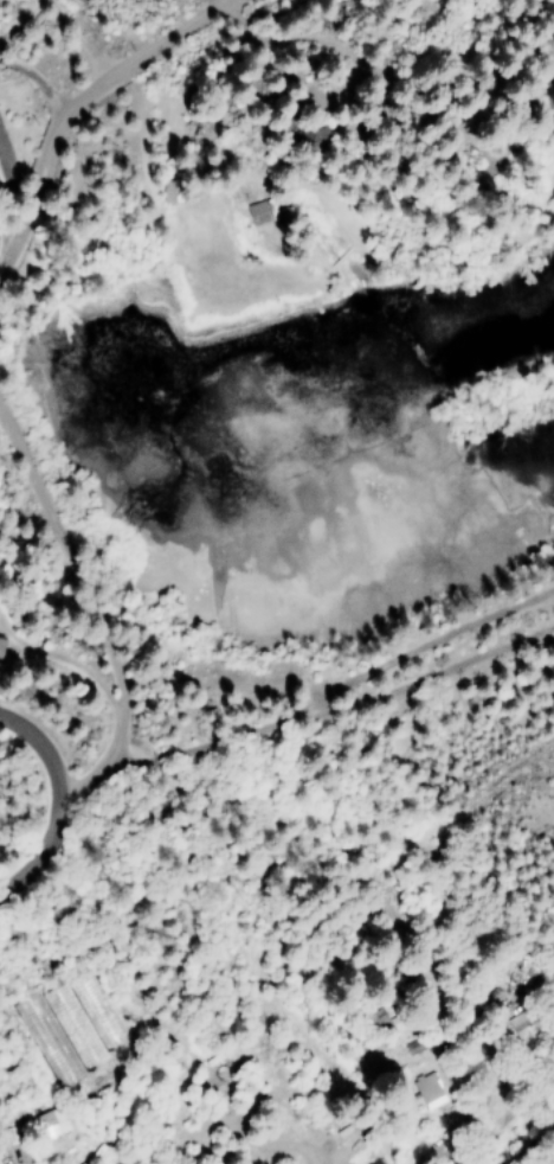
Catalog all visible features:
road: (321, 39)
road: (138, 55)
road: (27, 190)
building: (251, 213)
road: (94, 607)
road: (36, 748)
road: (41, 848)
building: (429, 1089)
building: (51, 1123)

